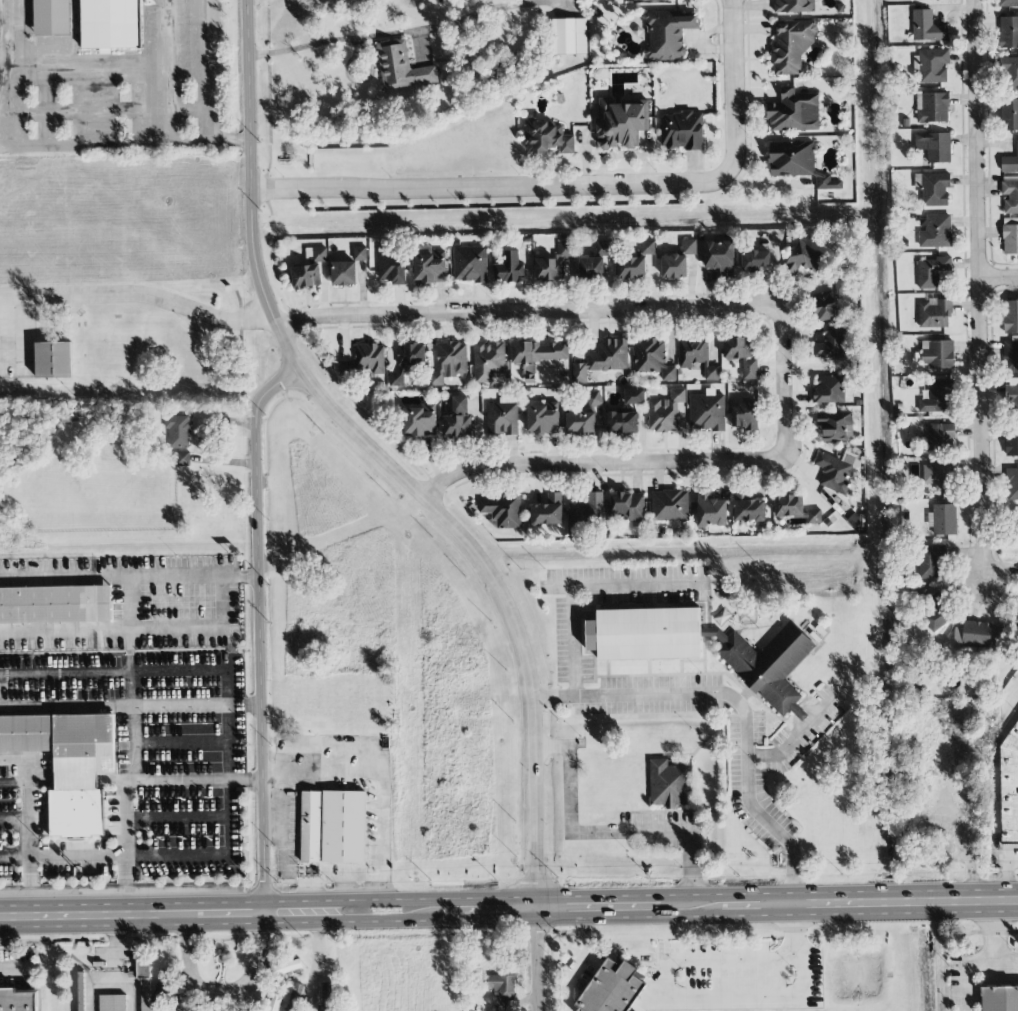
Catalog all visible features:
building: (915, 0)
building: (1008, 3)
building: (794, 6)
building: (598, 12)
building: (53, 16)
building: (111, 24)
building: (927, 27)
building: (1009, 32)
building: (667, 34)
road: (13, 35)
building: (571, 37)
road: (330, 40)
building: (791, 48)
building: (932, 65)
building: (401, 67)
road: (83, 70)
road: (168, 71)
road: (206, 71)
building: (1009, 73)
building: (503, 75)
building: (447, 83)
road: (732, 89)
building: (932, 107)
road: (48, 108)
building: (794, 112)
road: (103, 113)
building: (1009, 115)
building: (621, 123)
building: (682, 131)
building: (547, 138)
road: (125, 144)
building: (934, 146)
building: (792, 159)
building: (1010, 162)
building: (829, 183)
road: (489, 186)
building: (933, 188)
building: (1010, 197)
building: (936, 232)
building: (1010, 236)
building: (647, 247)
building: (603, 248)
building: (565, 249)
building: (360, 253)
building: (319, 254)
building: (720, 258)
building: (805, 258)
building: (755, 260)
building: (470, 264)
building: (429, 265)
building: (675, 266)
building: (391, 267)
building: (633, 267)
building: (510, 268)
building: (592, 268)
building: (550, 269)
building: (932, 271)
building: (343, 273)
road: (1002, 274)
building: (305, 277)
road: (986, 290)
road: (138, 294)
building: (825, 306)
road: (527, 310)
building: (934, 313)
building: (1011, 316)
road: (17, 337)
building: (831, 343)
building: (540, 352)
building: (937, 354)
building: (411, 355)
building: (741, 355)
building: (1011, 355)
building: (696, 356)
building: (370, 358)
building: (653, 358)
building: (603, 359)
building: (54, 360)
building: (489, 360)
building: (449, 362)
road: (785, 382)
building: (832, 389)
building: (634, 395)
building: (1013, 395)
building: (936, 397)
building: (594, 398)
building: (665, 412)
road: (771, 414)
building: (745, 416)
building: (502, 417)
building: (543, 418)
building: (457, 420)
building: (419, 421)
building: (581, 422)
building: (621, 422)
building: (836, 426)
building: (178, 430)
building: (939, 436)
building: (1011, 441)
building: (183, 459)
road: (597, 463)
building: (836, 470)
building: (937, 477)
building: (1012, 484)
road: (420, 493)
building: (670, 505)
building: (627, 507)
building: (748, 508)
building: (795, 509)
building: (502, 510)
building: (548, 510)
building: (587, 510)
building: (710, 510)
building: (943, 519)
building: (1016, 525)
building: (930, 562)
road: (129, 578)
road: (627, 584)
building: (55, 605)
building: (935, 609)
road: (137, 630)
road: (260, 630)
building: (645, 634)
building: (977, 634)
road: (575, 641)
building: (767, 665)
road: (114, 673)
road: (131, 680)
road: (131, 708)
road: (741, 708)
road: (229, 726)
road: (795, 737)
road: (554, 748)
road: (14, 759)
building: (68, 765)
road: (380, 779)
road: (193, 781)
road: (15, 783)
building: (669, 784)
road: (571, 790)
building: (1009, 791)
road: (226, 818)
road: (174, 819)
road: (15, 820)
building: (311, 827)
building: (345, 827)
road: (631, 832)
road: (31, 836)
road: (123, 847)
road: (113, 857)
road: (692, 863)
road: (1008, 876)
road: (744, 893)
road: (617, 896)
road: (429, 898)
road: (905, 902)
road: (159, 913)
road: (744, 915)
road: (617, 918)
road: (492, 919)
road: (380, 921)
road: (794, 931)
road: (319, 946)
road: (799, 960)
road: (1006, 961)
road: (989, 962)
road: (116, 965)
road: (576, 979)
building: (144, 983)
building: (500, 985)
road: (99, 986)
building: (611, 988)
road: (224, 990)
building: (81, 993)
building: (328, 996)
road: (646, 996)
road: (192, 998)
building: (295, 998)
road: (240, 999)
building: (275, 999)
building: (1000, 999)
building: (17, 1000)
building: (113, 1003)

